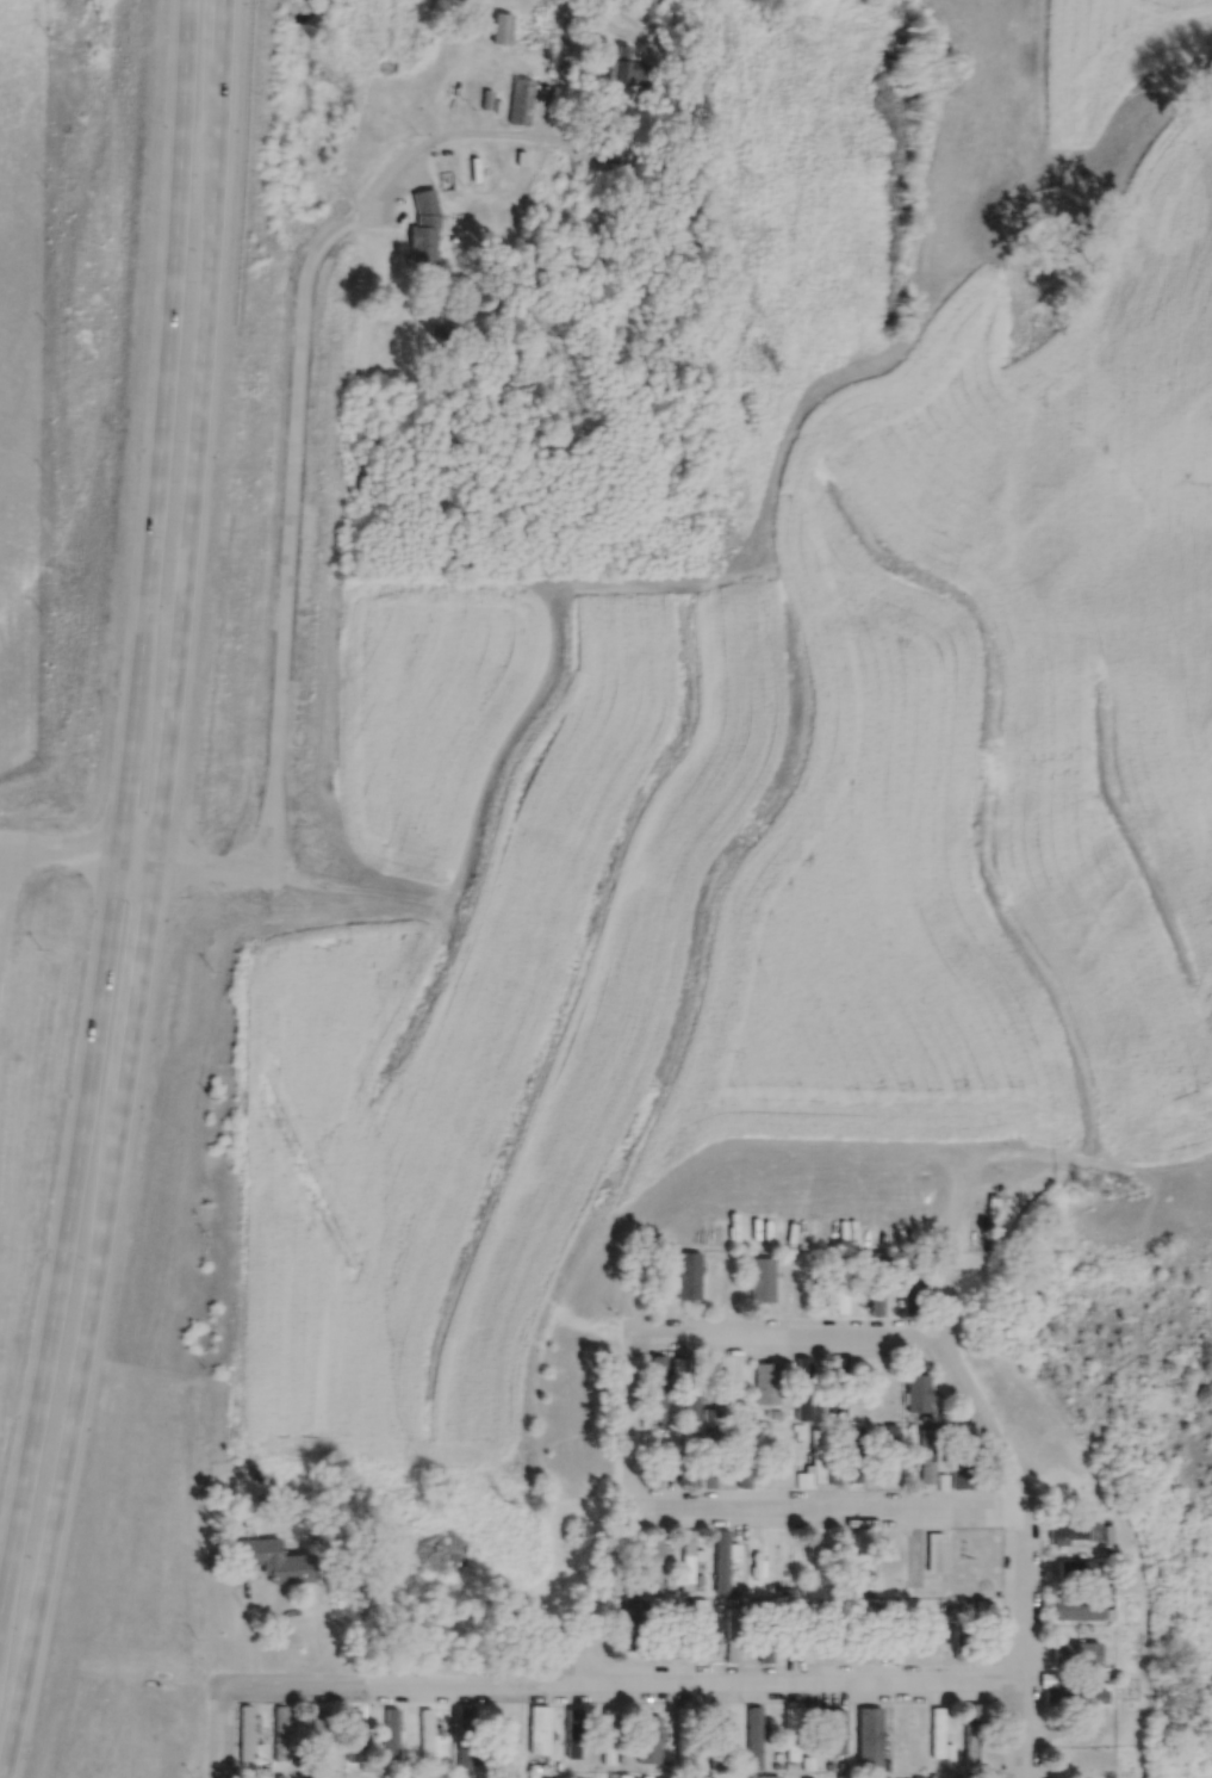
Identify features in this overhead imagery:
building: (505, 31)
building: (633, 70)
building: (524, 103)
road: (496, 136)
building: (428, 227)
road: (296, 571)
road: (125, 807)
road: (13, 881)
road: (149, 893)
building: (983, 1227)
building: (692, 1276)
road: (941, 1283)
building: (734, 1284)
building: (772, 1287)
building: (845, 1289)
building: (881, 1291)
road: (813, 1333)
building: (731, 1383)
building: (771, 1384)
building: (840, 1386)
building: (663, 1389)
building: (922, 1393)
building: (883, 1399)
building: (696, 1402)
building: (676, 1449)
building: (894, 1454)
building: (858, 1455)
building: (821, 1456)
building: (748, 1457)
building: (931, 1457)
building: (713, 1458)
building: (785, 1460)
building: (967, 1474)
road: (629, 1495)
road: (820, 1507)
building: (1079, 1532)
building: (822, 1549)
building: (939, 1551)
road: (1019, 1551)
building: (727, 1560)
building: (787, 1560)
building: (279, 1562)
building: (691, 1562)
building: (658, 1565)
building: (756, 1565)
building: (1082, 1573)
building: (1082, 1609)
building: (995, 1633)
building: (704, 1634)
building: (967, 1634)
building: (736, 1638)
building: (769, 1644)
building: (1076, 1654)
road: (622, 1693)
building: (1081, 1697)
building: (722, 1717)
building: (322, 1727)
building: (908, 1729)
building: (543, 1731)
building: (837, 1733)
road: (219, 1734)
building: (249, 1734)
building: (686, 1734)
building: (940, 1734)
building: (1076, 1734)
building: (795, 1735)
building: (975, 1737)
building: (284, 1739)
building: (430, 1739)
building: (468, 1739)
building: (506, 1739)
building: (874, 1739)
building: (611, 1740)
building: (758, 1740)
building: (653, 1741)
building: (356, 1742)
building: (721, 1757)
building: (1074, 1770)
building: (266, 1777)
building: (374, 1777)
building: (627, 1777)
building: (849, 1777)
building: (885, 1777)

